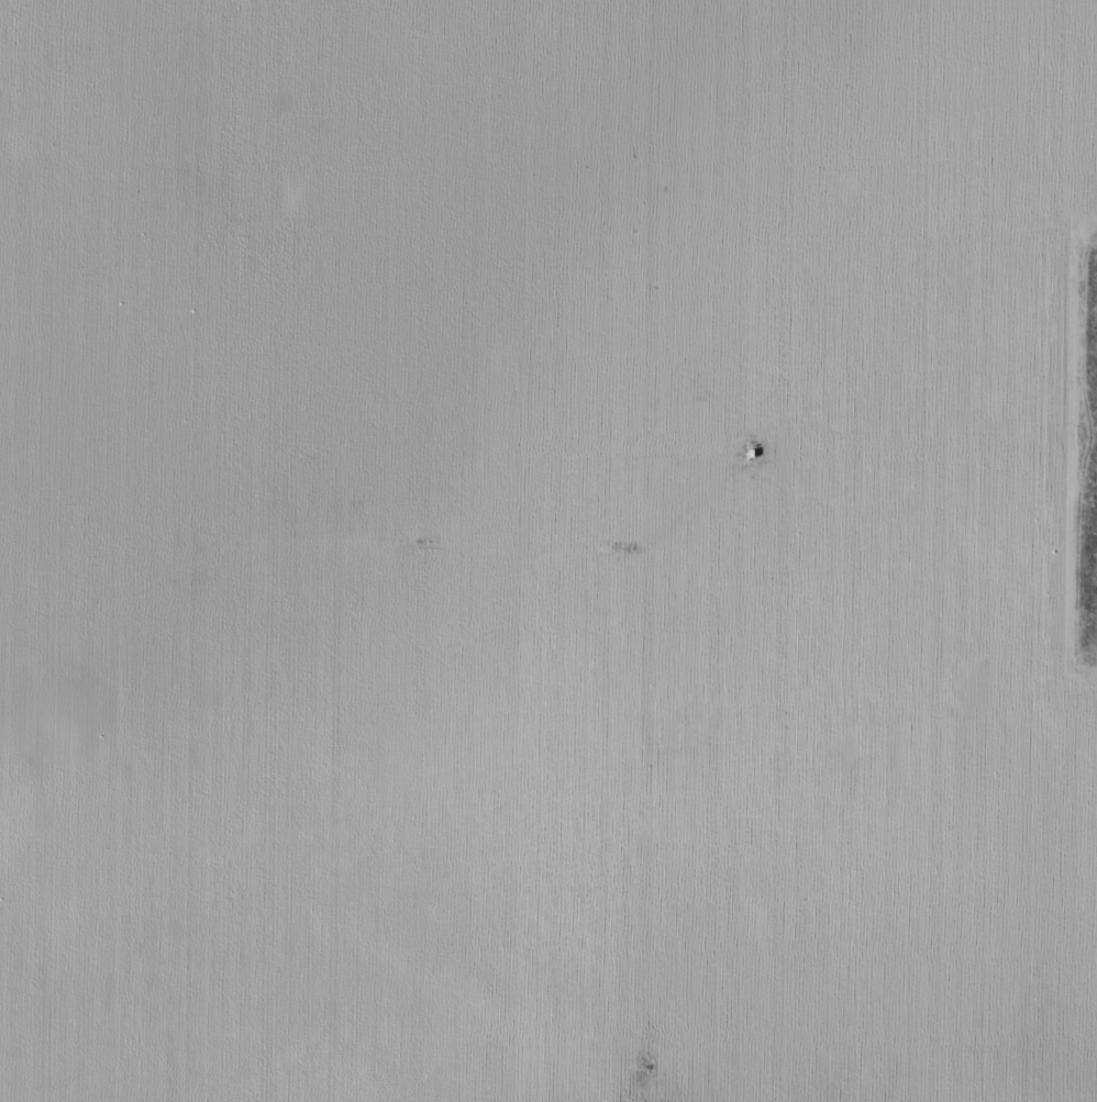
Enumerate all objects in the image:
road: (594, 601)

